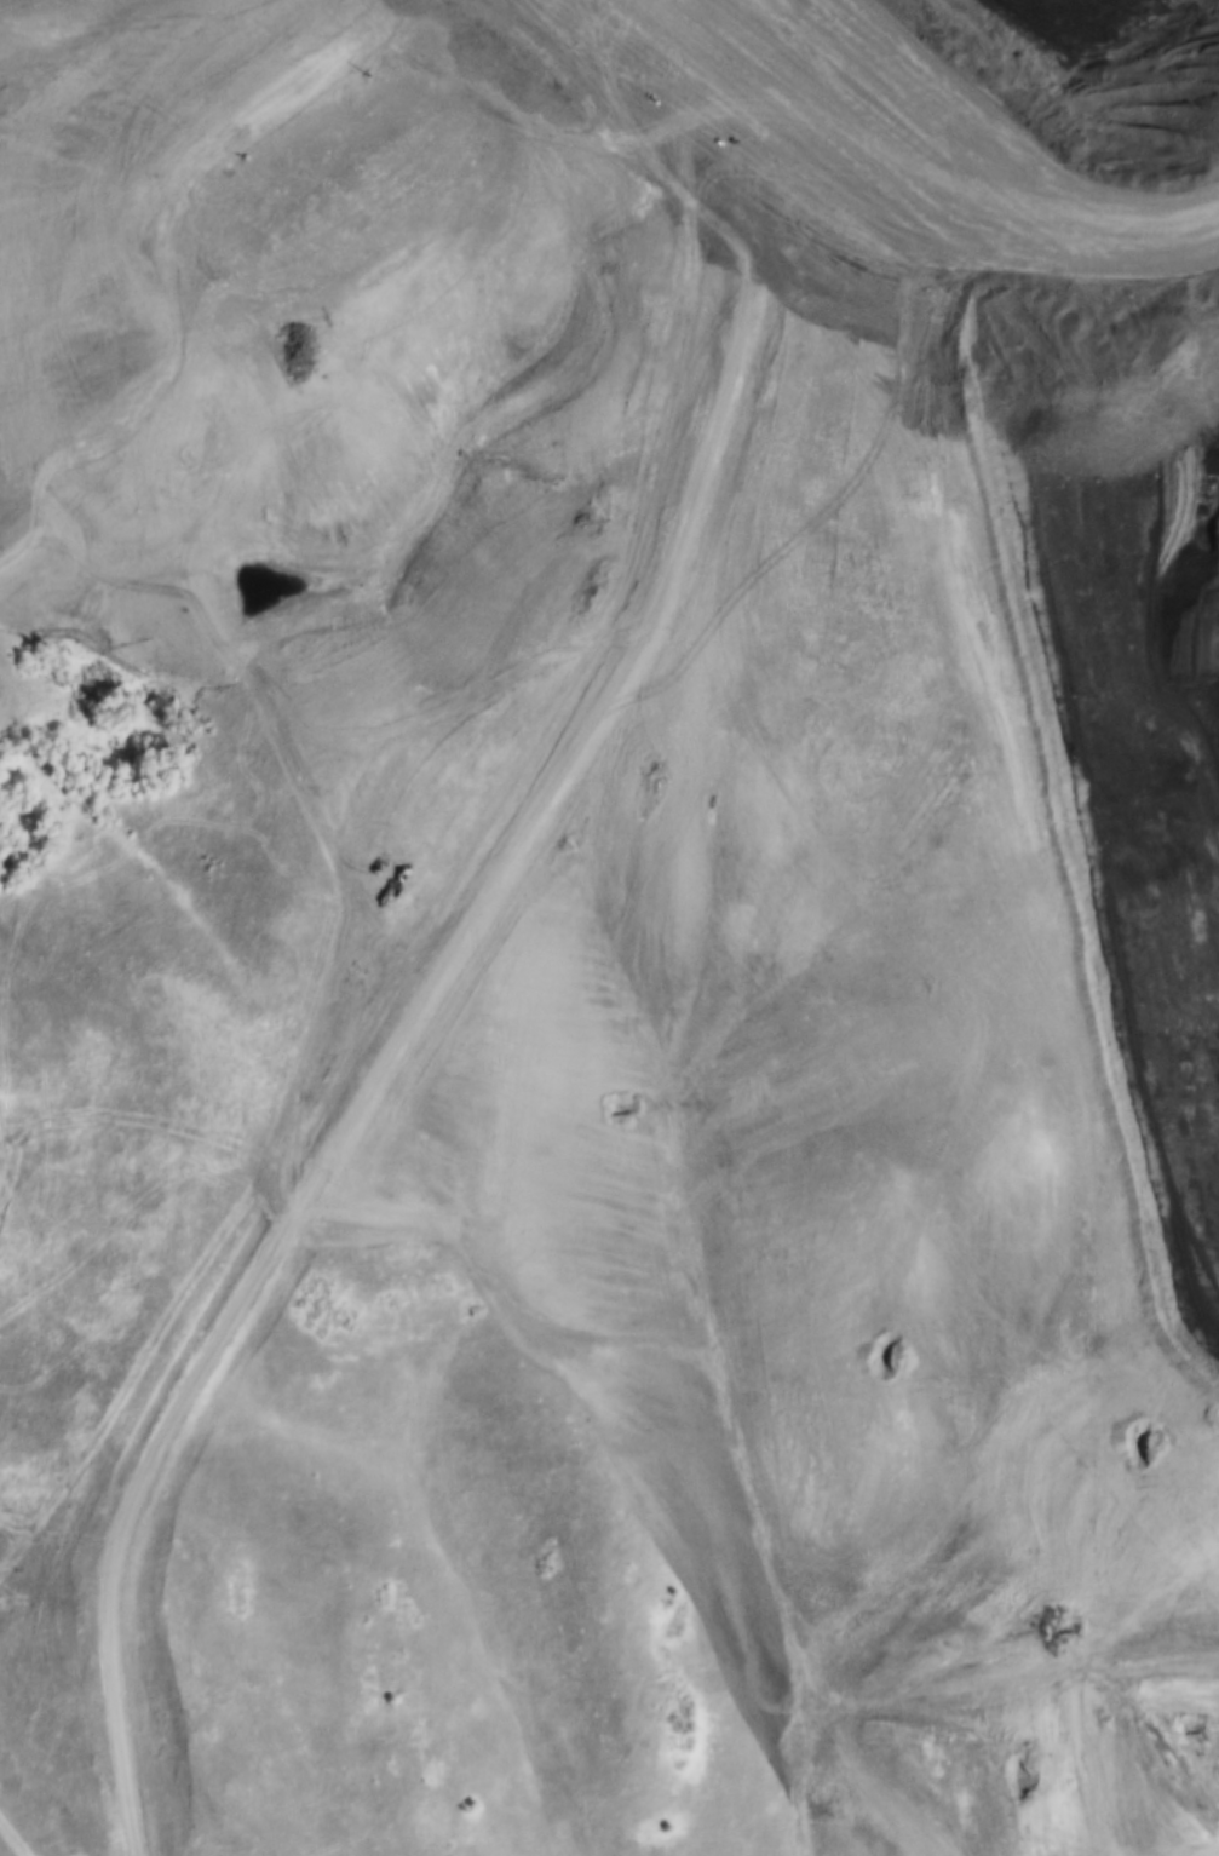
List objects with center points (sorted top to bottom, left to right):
road: (470, 920)
building: (297, 1300)

